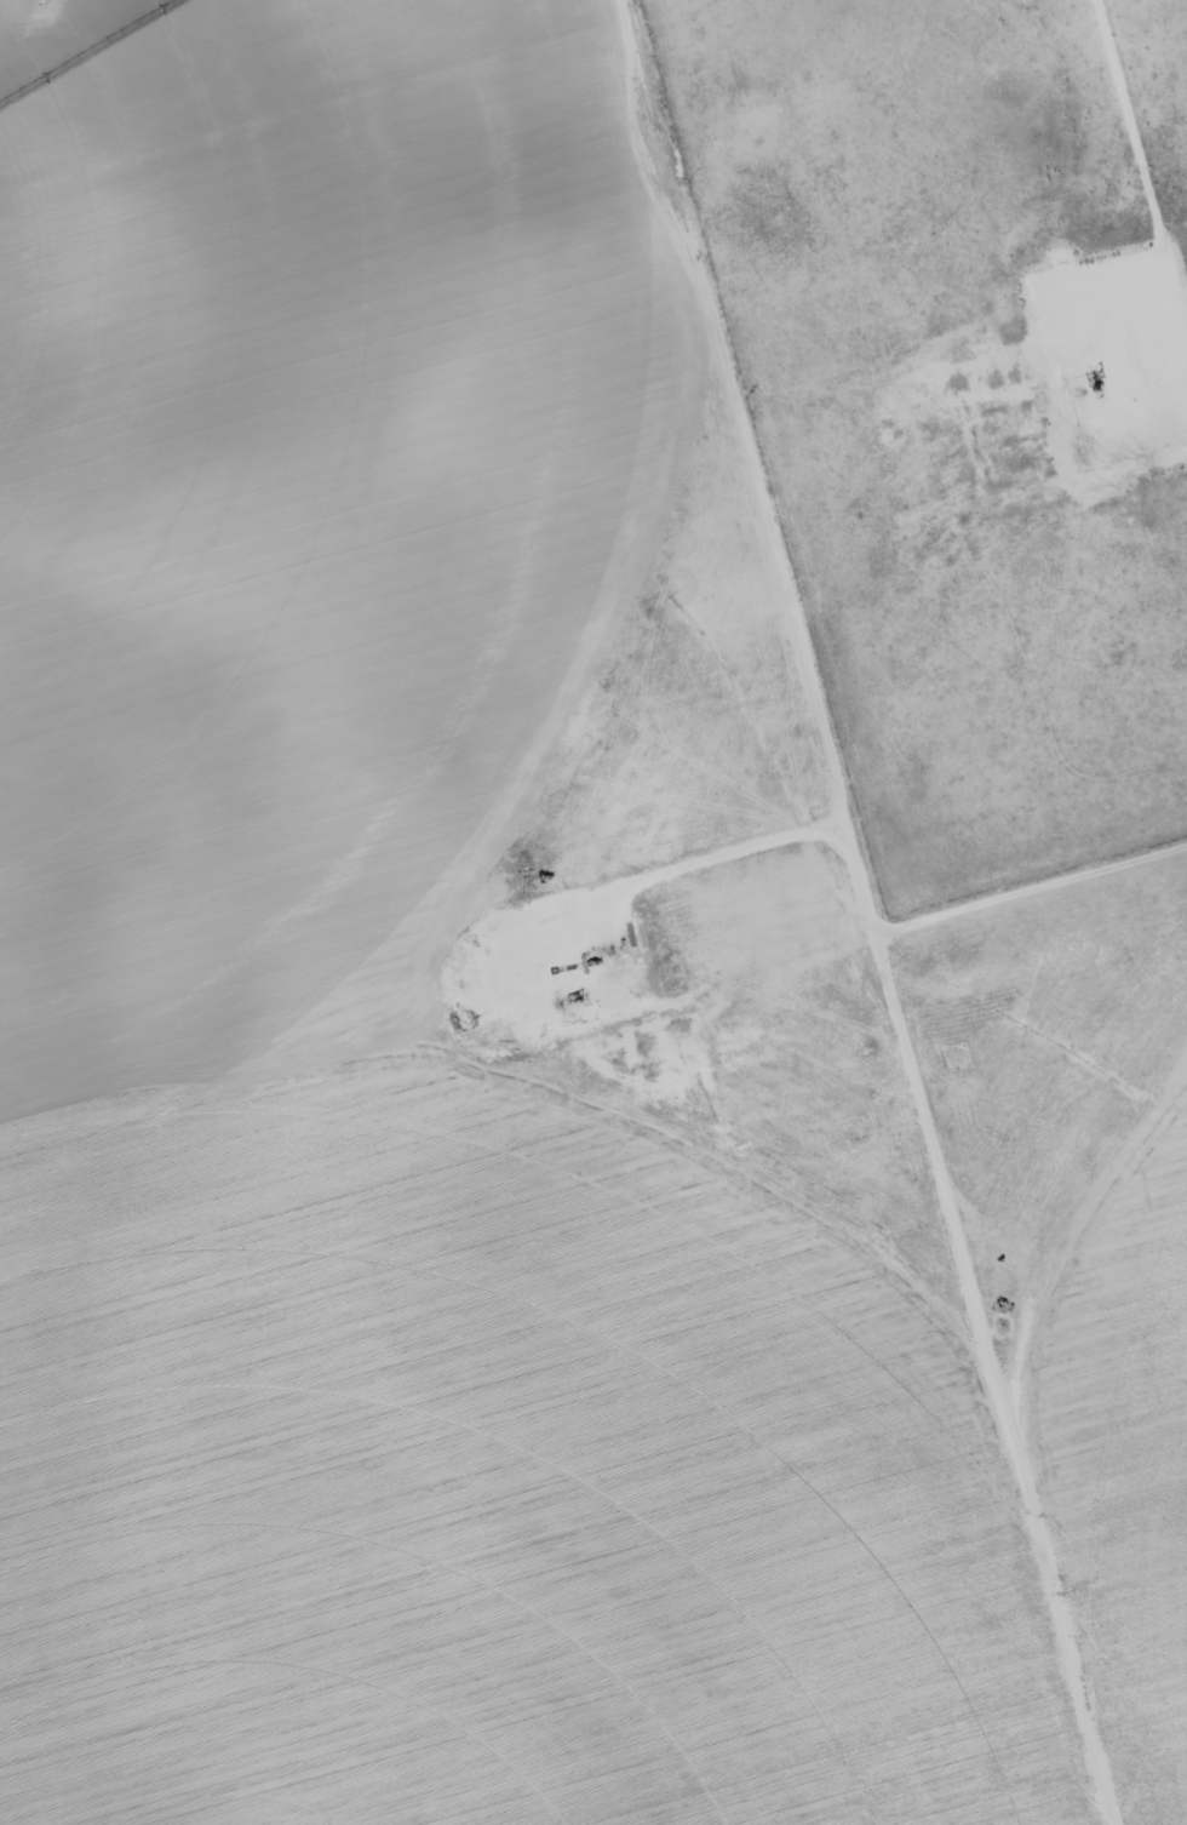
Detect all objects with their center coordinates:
petroleum well: (1096, 382)
petroleum well: (638, 939)

